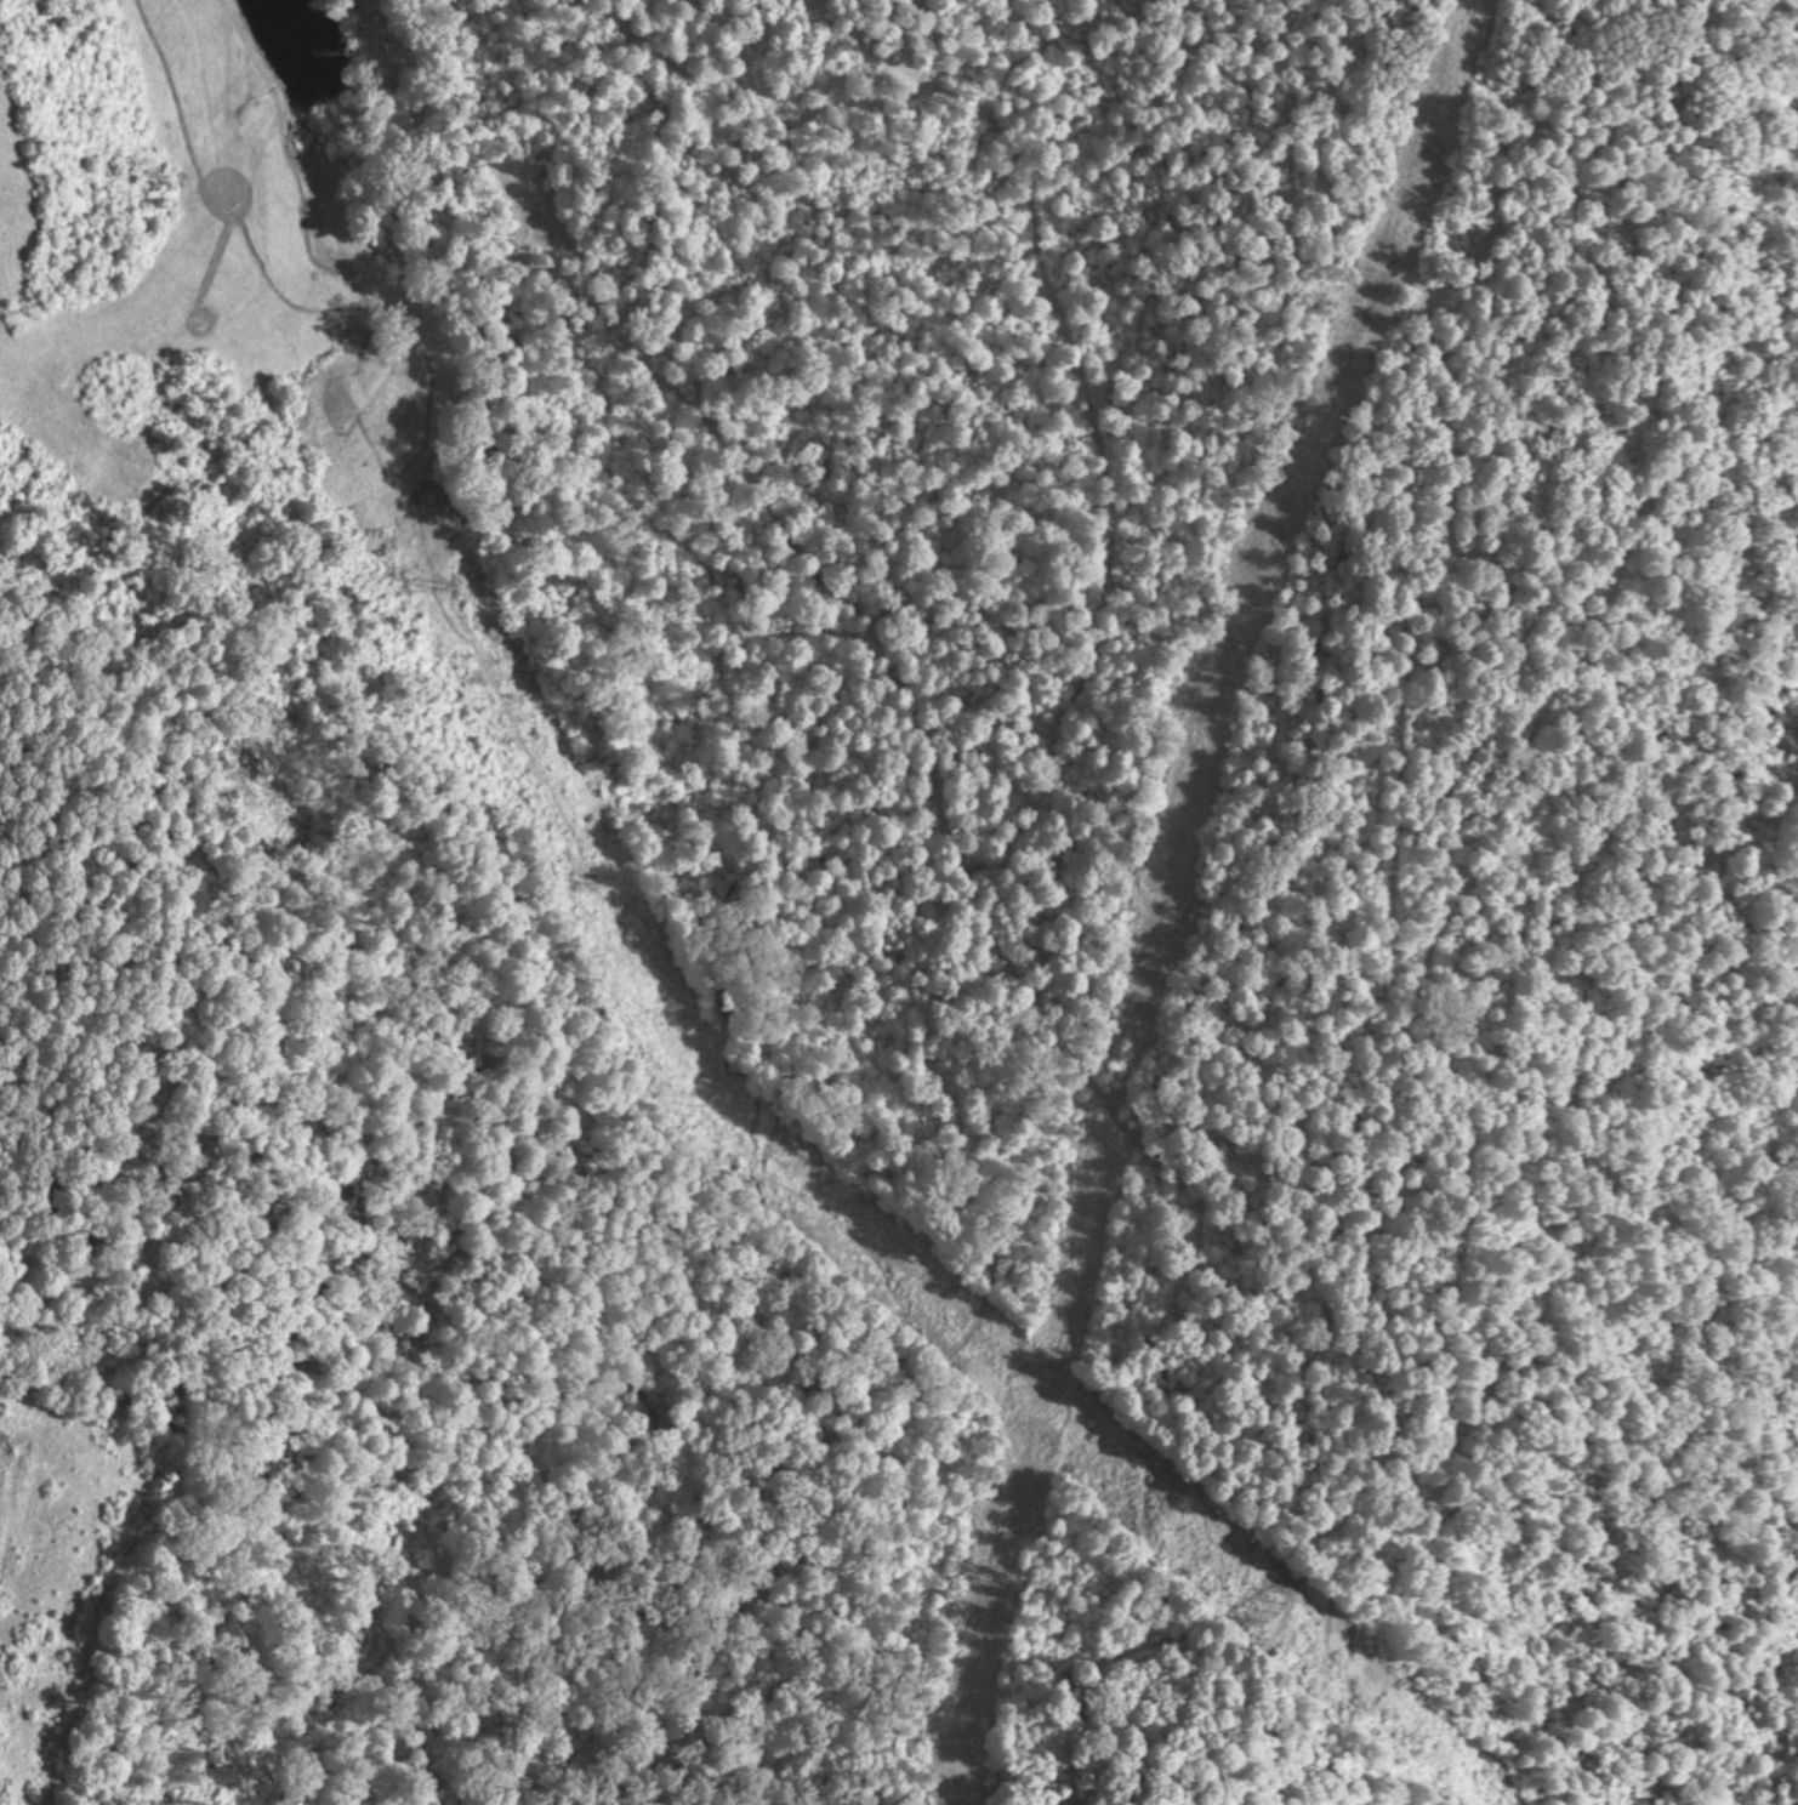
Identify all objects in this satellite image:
building: (767, 587)
road: (297, 617)

